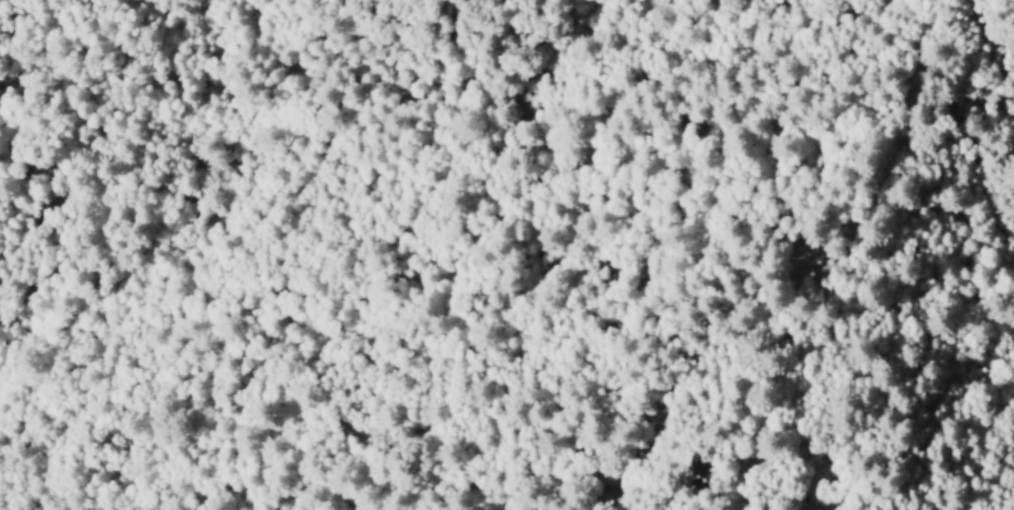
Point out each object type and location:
road: (800, 267)
road: (767, 390)

